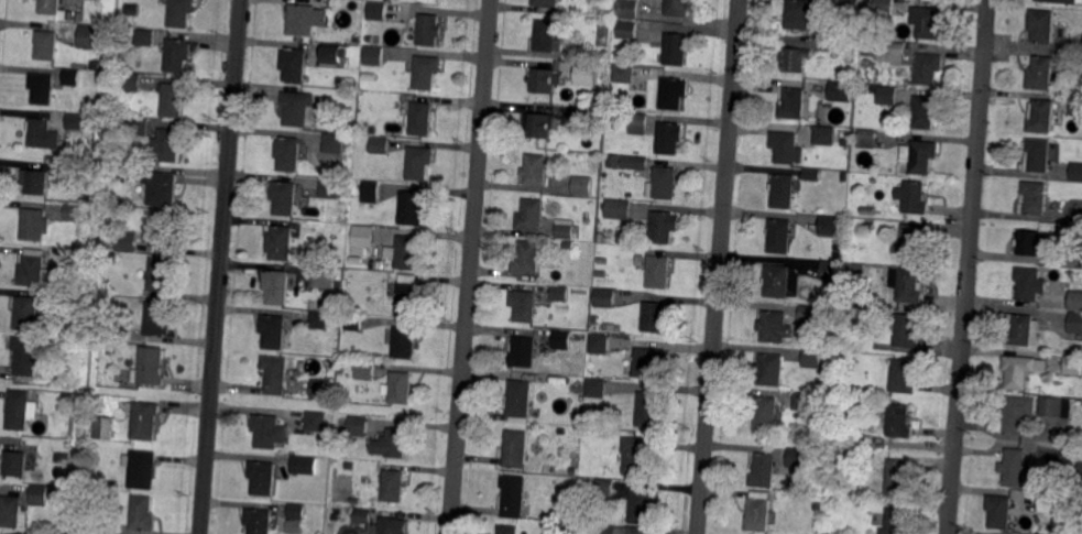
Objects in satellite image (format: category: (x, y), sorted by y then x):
building: (1060, 1)
building: (546, 3)
building: (851, 6)
building: (48, 7)
building: (885, 7)
building: (627, 9)
building: (678, 9)
building: (133, 11)
building: (378, 11)
building: (181, 13)
building: (798, 15)
building: (305, 20)
building: (926, 22)
building: (1041, 26)
building: (428, 30)
building: (626, 31)
building: (88, 37)
building: (546, 37)
building: (145, 39)
building: (356, 39)
building: (372, 39)
building: (45, 45)
building: (835, 47)
building: (870, 50)
building: (676, 53)
building: (890, 53)
building: (332, 54)
building: (177, 55)
building: (372, 56)
building: (794, 59)
building: (293, 65)
building: (95, 66)
building: (926, 69)
building: (425, 73)
building: (1041, 73)
building: (587, 74)
building: (623, 75)
building: (369, 77)
building: (70, 78)
building: (131, 81)
building: (543, 81)
building: (41, 89)
building: (840, 92)
building: (673, 94)
building: (888, 97)
building: (174, 100)
building: (791, 103)
building: (1075, 106)
building: (298, 109)
building: (925, 111)
building: (1039, 117)
building: (420, 119)
building: (579, 120)
building: (74, 121)
building: (637, 123)
building: (540, 124)
building: (138, 126)
building: (43, 134)
building: (824, 134)
building: (669, 138)
building: (848, 138)
building: (868, 139)
building: (334, 142)
building: (171, 143)
building: (380, 145)
building: (786, 146)
building: (288, 153)
building: (920, 156)
building: (1037, 156)
building: (418, 162)
building: (635, 162)
building: (80, 167)
building: (535, 170)
building: (123, 171)
building: (1075, 171)
building: (812, 175)
building: (845, 177)
building: (36, 183)
building: (662, 184)
building: (582, 185)
building: (163, 187)
building: (330, 187)
building: (784, 190)
building: (371, 192)
building: (284, 197)
building: (916, 197)
building: (1035, 197)
building: (619, 208)
building: (409, 209)
building: (117, 210)
road: (722, 210)
building: (77, 212)
building: (866, 212)
building: (529, 216)
building: (1076, 216)
building: (35, 225)
building: (116, 226)
building: (662, 227)
building: (831, 227)
building: (868, 227)
building: (564, 229)
building: (165, 230)
building: (627, 236)
building: (780, 236)
building: (363, 237)
building: (600, 239)
building: (127, 241)
building: (910, 241)
building: (281, 242)
building: (1030, 242)
building: (567, 246)
building: (406, 254)
building: (79, 258)
building: (526, 258)
building: (839, 258)
building: (1081, 260)
building: (601, 261)
building: (357, 263)
road: (221, 266)
road: (470, 266)
road: (969, 266)
building: (32, 269)
building: (79, 269)
building: (831, 270)
building: (658, 272)
building: (855, 274)
building: (161, 276)
building: (324, 276)
building: (776, 282)
building: (1029, 284)
building: (907, 286)
building: (276, 287)
building: (122, 290)
building: (560, 293)
building: (582, 294)
building: (408, 297)
building: (605, 297)
building: (833, 301)
building: (1075, 301)
building: (525, 305)
building: (26, 310)
building: (653, 317)
building: (807, 317)
building: (159, 318)
building: (319, 319)
building: (354, 320)
building: (774, 326)
building: (1075, 326)
building: (905, 330)
building: (1021, 330)
building: (273, 333)
building: (110, 334)
building: (562, 339)
building: (73, 342)
building: (405, 342)
building: (594, 345)
building: (111, 349)
building: (1079, 350)
building: (523, 351)
building: (30, 356)
building: (813, 358)
building: (331, 363)
building: (647, 364)
building: (1073, 364)
building: (150, 368)
building: (364, 370)
building: (769, 370)
building: (1023, 370)
building: (67, 372)
building: (276, 373)
building: (903, 378)
building: (597, 386)
building: (401, 389)
building: (323, 390)
building: (1070, 390)
building: (67, 397)
building: (518, 399)
building: (806, 402)
building: (1054, 407)
building: (20, 410)
building: (648, 410)
building: (766, 414)
building: (1015, 415)
building: (316, 421)
building: (576, 421)
building: (145, 422)
building: (899, 422)
building: (358, 425)
building: (102, 426)
building: (266, 431)
building: (392, 444)
building: (515, 448)
building: (796, 457)
building: (63, 458)
building: (636, 458)
building: (17, 462)
building: (304, 465)
building: (1015, 467)
building: (142, 468)
building: (765, 470)
building: (572, 471)
building: (1080, 471)
building: (263, 477)
road: (704, 477)
building: (896, 480)
building: (393, 487)
building: (1062, 488)
building: (603, 491)
building: (42, 494)
building: (513, 497)
building: (1050, 502)
building: (640, 506)
building: (11, 511)
building: (999, 511)
building: (296, 512)
building: (144, 513)
building: (759, 513)
building: (362, 516)
building: (260, 521)
building: (893, 521)
building: (108, 525)
building: (391, 525)
building: (587, 527)
building: (509, 530)
building: (608, 530)
building: (640, 531)
building: (34, 533)

